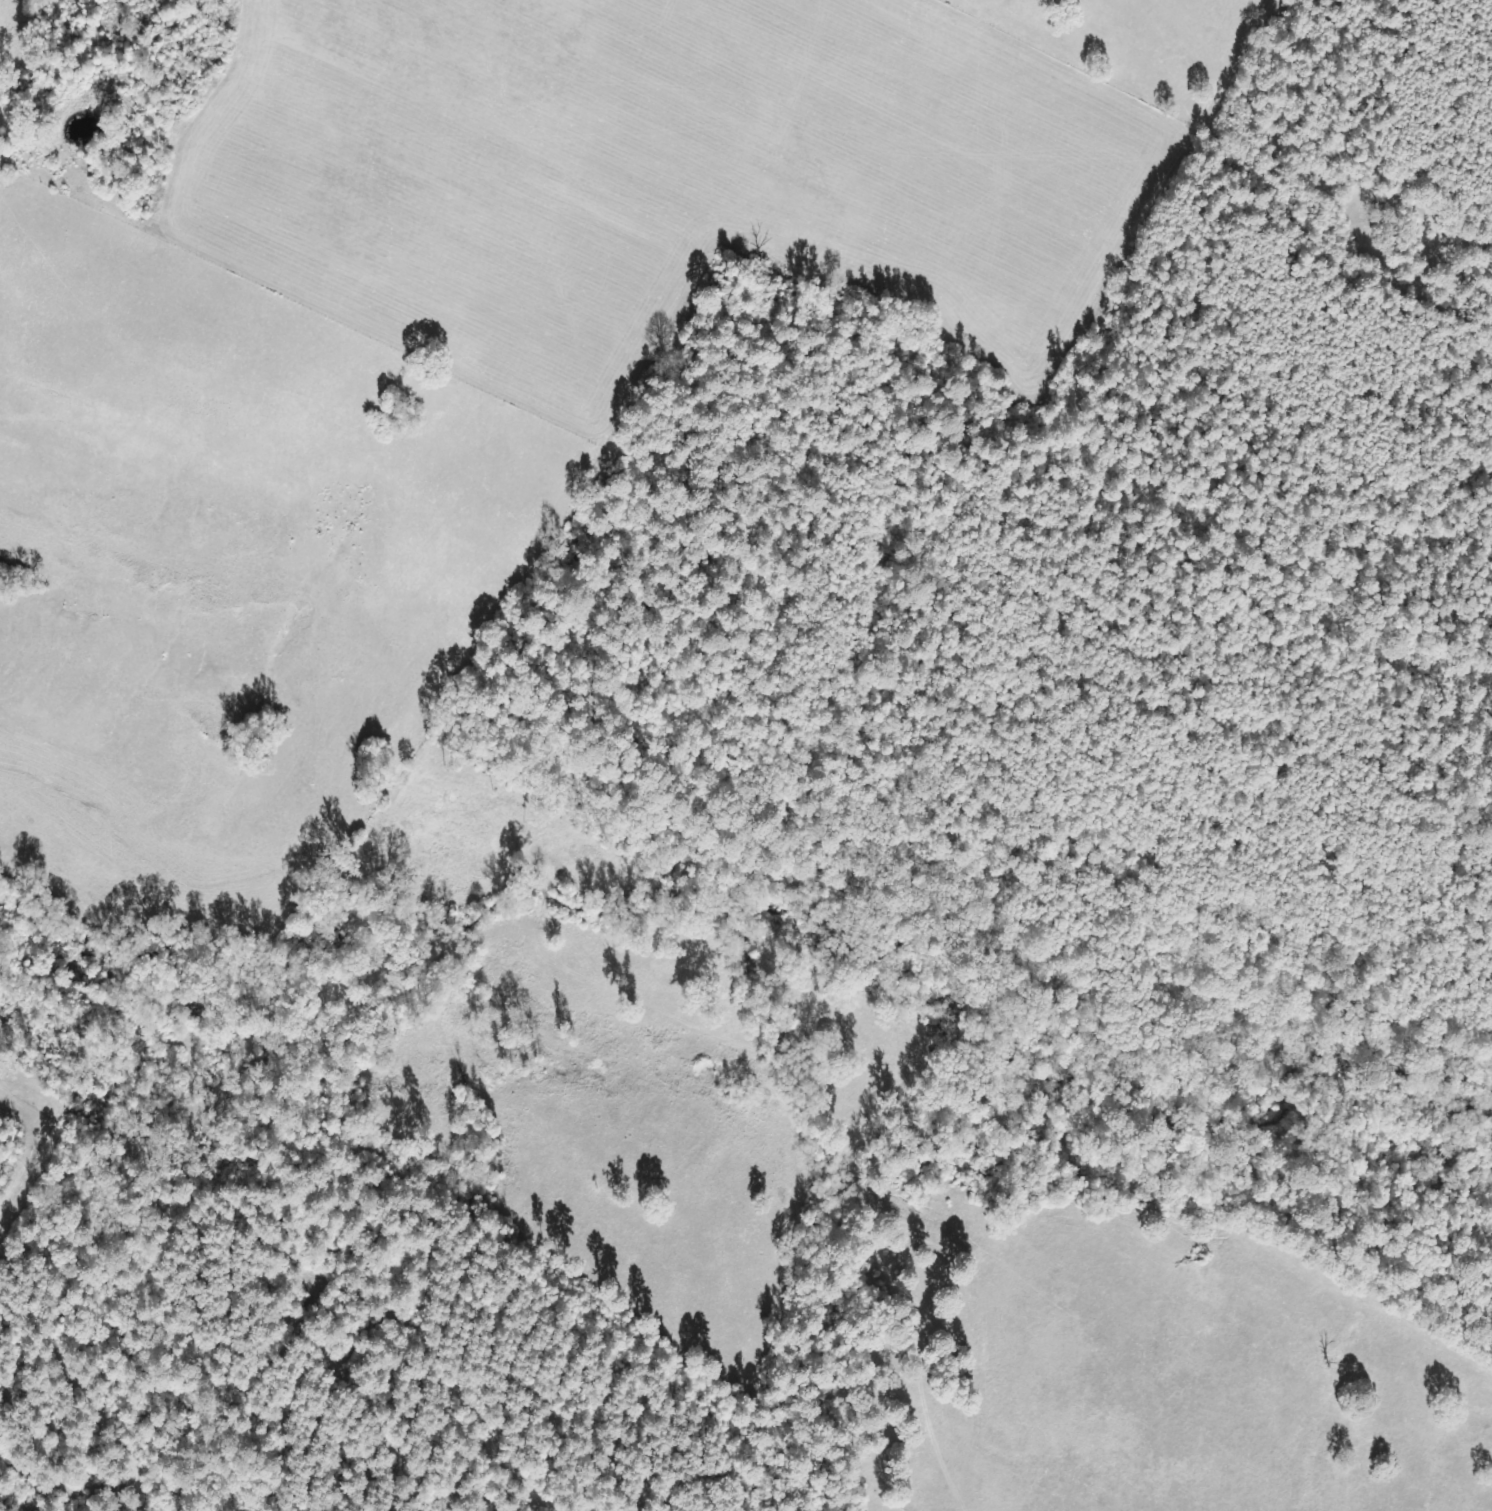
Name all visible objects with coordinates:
road: (1247, 132)

